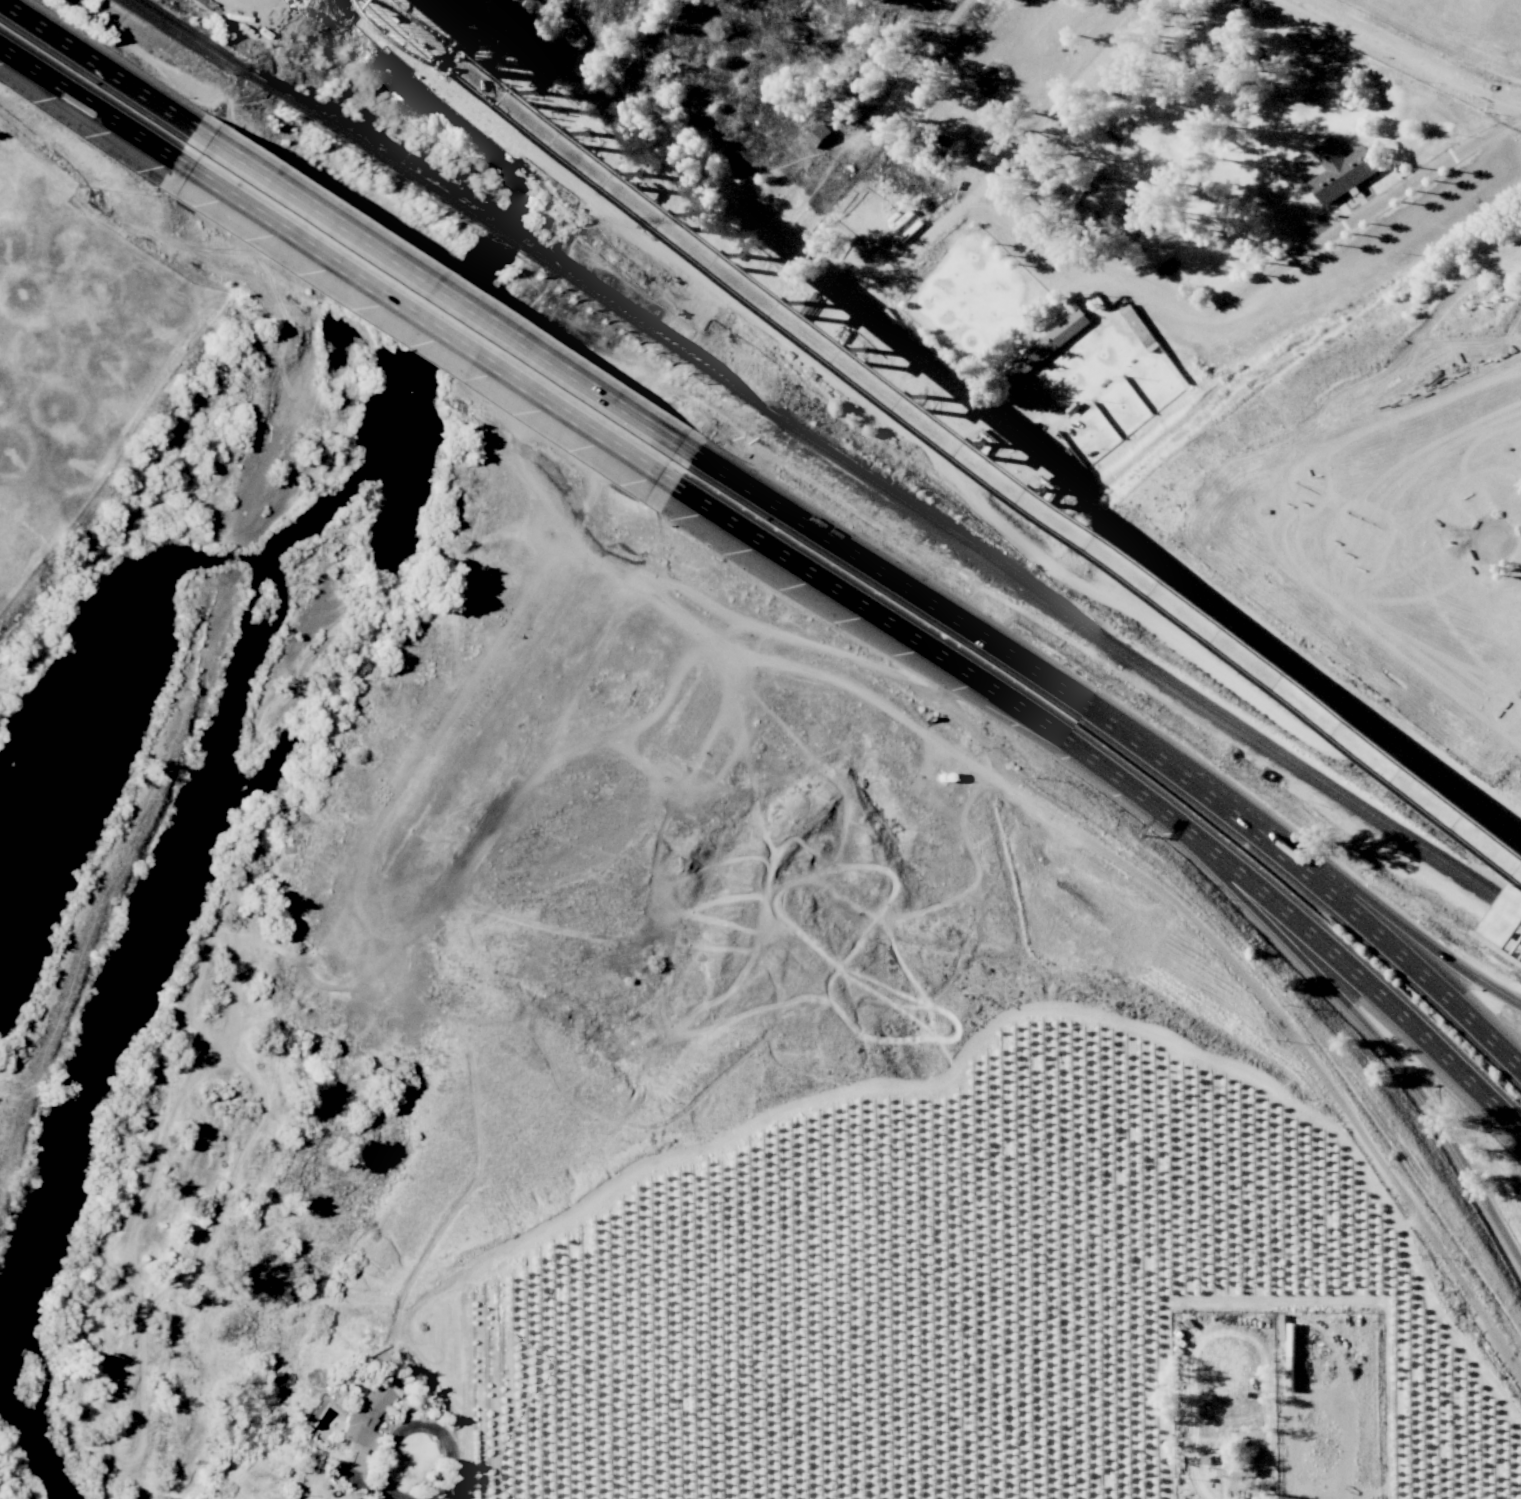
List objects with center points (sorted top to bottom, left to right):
railway: (188, 42)
road: (1410, 55)
road: (105, 68)
road: (94, 107)
road: (2, 127)
building: (821, 135)
building: (1342, 170)
railway: (504, 248)
road: (443, 289)
road: (1143, 294)
road: (422, 322)
building: (1050, 345)
crop: (62, 353)
railway: (966, 434)
railway: (960, 437)
road: (877, 617)
railway: (1137, 661)
road: (1119, 727)
river: (284, 742)
road: (1401, 924)
road: (1316, 937)
road: (1334, 991)
road: (1274, 1010)
building: (364, 1416)
road: (412, 1425)
building: (1239, 1475)

